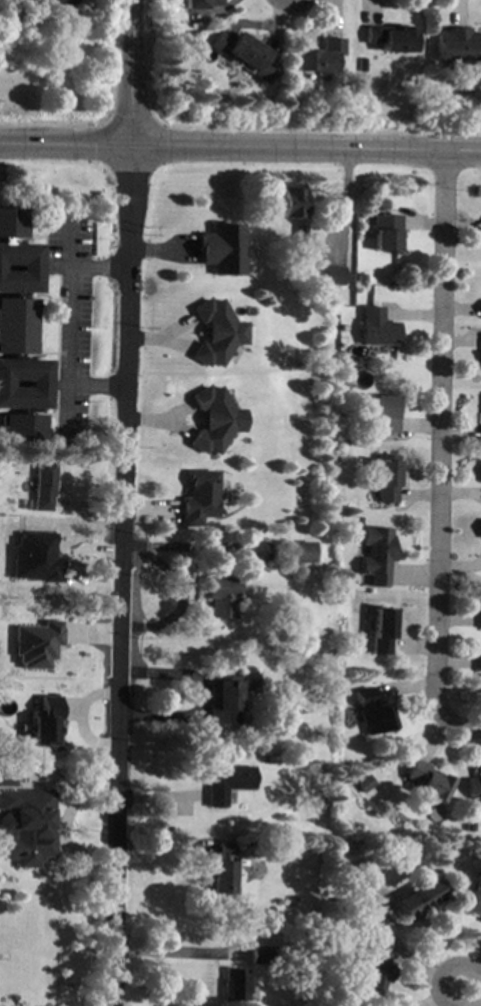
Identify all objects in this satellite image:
building: (3, 0)
building: (202, 4)
building: (389, 38)
building: (457, 44)
building: (244, 53)
building: (318, 56)
building: (362, 65)
road: (130, 72)
road: (64, 143)
road: (304, 150)
building: (289, 200)
building: (70, 212)
building: (387, 231)
building: (299, 232)
building: (217, 249)
road: (96, 271)
building: (327, 274)
building: (376, 327)
road: (67, 328)
building: (213, 332)
building: (18, 338)
road: (95, 387)
building: (383, 415)
building: (211, 420)
road: (437, 436)
building: (480, 443)
building: (480, 473)
building: (385, 478)
building: (41, 485)
building: (197, 497)
building: (479, 528)
building: (253, 551)
building: (298, 551)
building: (376, 554)
building: (32, 558)
road: (121, 575)
building: (220, 596)
building: (479, 607)
building: (8, 613)
building: (381, 630)
building: (35, 644)
building: (87, 653)
building: (0, 654)
building: (478, 662)
building: (82, 696)
building: (225, 697)
road: (199, 698)
building: (374, 712)
road: (456, 722)
building: (44, 723)
building: (278, 751)
building: (273, 759)
building: (7, 776)
building: (92, 777)
building: (429, 781)
building: (367, 783)
building: (225, 784)
building: (475, 787)
building: (321, 803)
building: (25, 826)
building: (471, 826)
road: (61, 829)
building: (356, 869)
building: (224, 870)
building: (475, 897)
building: (417, 899)
building: (338, 904)
building: (315, 921)
building: (256, 951)
building: (311, 952)
building: (374, 965)
road: (444, 974)
building: (236, 984)

